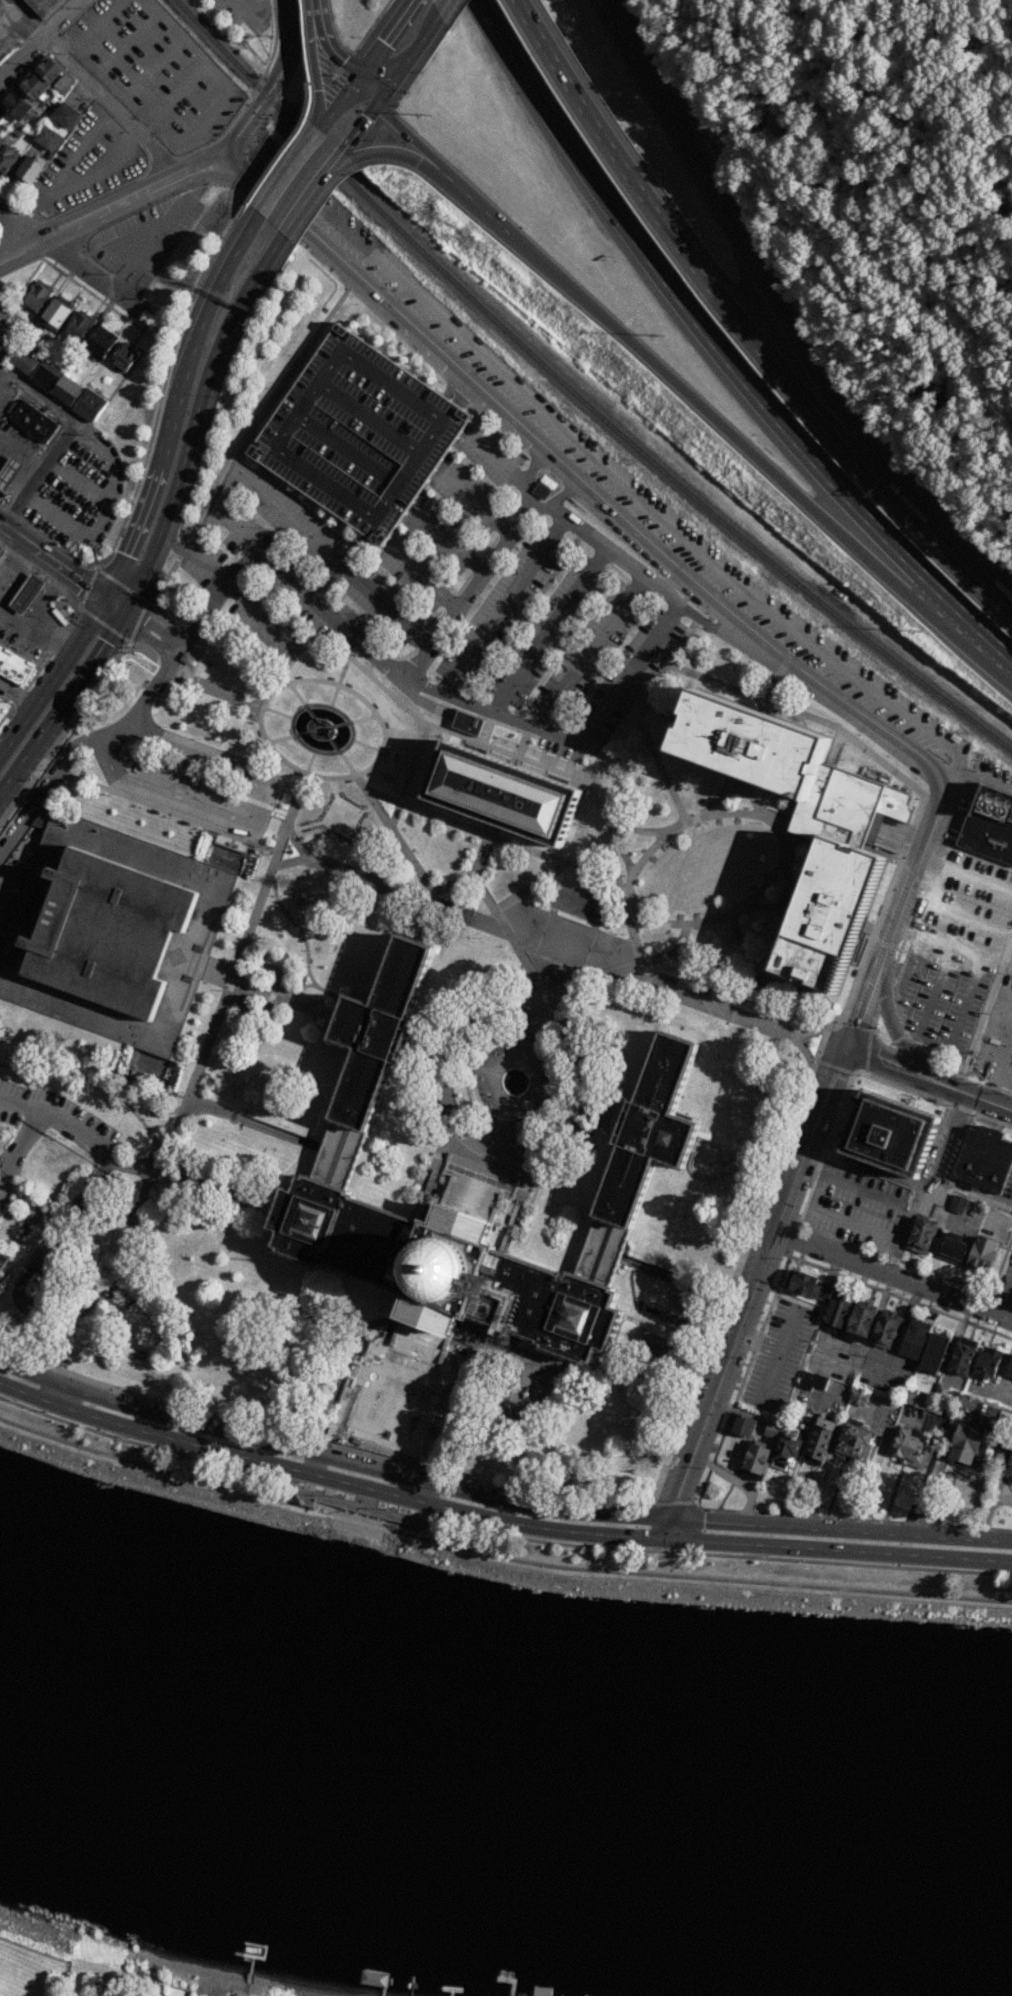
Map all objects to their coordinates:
road: (248, 4)
building: (43, 6)
road: (316, 8)
road: (443, 8)
parking lot: (244, 15)
road: (97, 22)
road: (534, 22)
road: (32, 32)
road: (385, 37)
road: (622, 38)
road: (38, 39)
road: (129, 41)
road: (64, 42)
road: (189, 43)
traffic signals: (380, 45)
road: (333, 49)
road: (408, 58)
traffic signals: (343, 61)
road: (154, 66)
building: (48, 70)
parking lot: (155, 70)
road: (320, 73)
road: (278, 74)
building: (63, 83)
building: (31, 86)
road: (118, 88)
road: (368, 88)
road: (179, 92)
road: (250, 94)
road: (339, 102)
building: (14, 103)
road: (111, 106)
traffic signals: (369, 113)
building: (1, 114)
building: (66, 114)
street lamp: (428, 115)
road: (205, 118)
road: (359, 125)
building: (17, 128)
road: (162, 132)
building: (47, 137)
road: (406, 137)
building: (0, 144)
road: (229, 144)
road: (619, 154)
road: (396, 155)
building: (6, 159)
road: (162, 159)
road: (209, 159)
parking lot: (87, 163)
road: (207, 164)
building: (28, 169)
road: (289, 172)
road: (334, 173)
road: (52, 191)
road: (311, 193)
road: (75, 206)
road: (99, 217)
parking lot: (152, 236)
parking lot: (147, 237)
road: (150, 247)
road: (76, 268)
road: (203, 270)
road: (764, 280)
road: (76, 282)
road: (215, 287)
building: (37, 296)
building: (56, 313)
building: (80, 327)
road: (388, 328)
street lamp: (661, 337)
building: (101, 345)
road: (720, 354)
building: (124, 359)
building: (25, 360)
building: (45, 375)
road: (3, 376)
road: (783, 379)
road: (459, 388)
building: (65, 390)
road: (484, 391)
railway: (575, 393)
road: (280, 395)
building: (89, 405)
road: (73, 419)
road: (194, 422)
building: (33, 423)
road: (721, 427)
building: (359, 434)
parking lot: (359, 434)
road: (22, 453)
road: (231, 455)
parking lot: (490, 455)
road: (493, 456)
road: (159, 461)
road: (602, 462)
parking lot: (615, 471)
building: (8, 472)
gas station: (8, 472)
road: (85, 486)
road: (260, 488)
building: (541, 490)
parking lot: (78, 491)
parking lot: (470, 496)
road: (473, 499)
road: (109, 505)
road: (14, 510)
road: (523, 511)
road: (124, 517)
road: (235, 527)
parking lot: (442, 534)
road: (447, 537)
road: (4, 538)
road: (175, 547)
road: (946, 550)
road: (38, 554)
traffic signals: (125, 554)
parking lot: (330, 556)
road: (613, 556)
road: (13, 563)
road: (338, 568)
road: (100, 570)
parking lot: (415, 572)
road: (41, 574)
road: (420, 575)
road: (113, 578)
road: (475, 580)
traffic signals: (77, 583)
parking lot: (298, 585)
building: (26, 593)
gas station: (26, 593)
road: (89, 593)
street lamp: (478, 598)
parking lot: (249, 605)
road: (501, 605)
parking lot: (501, 607)
road: (112, 610)
road: (443, 613)
road: (37, 627)
road: (113, 630)
traffic signals: (141, 630)
road: (194, 630)
road: (548, 631)
parking lot: (548, 632)
street lamp: (631, 633)
road: (149, 635)
traffic signals: (104, 643)
road: (589, 653)
parking lot: (590, 653)
road: (789, 656)
road: (197, 657)
building: (186, 658)
road: (44, 660)
building: (14, 666)
road: (285, 666)
street lamp: (434, 679)
road: (53, 682)
street lamp: (537, 685)
parking lot: (618, 686)
road: (771, 688)
street lamp: (462, 689)
road: (20, 692)
road: (228, 694)
flagpole: (258, 696)
road: (638, 702)
flagpole: (254, 703)
road: (425, 703)
road: (846, 703)
road: (9, 706)
flagpole: (252, 709)
street lamp: (520, 711)
road: (663, 711)
park: (309, 714)
road: (73, 716)
road: (52, 717)
road: (598, 719)
building: (323, 721)
road: (347, 722)
building: (467, 722)
building: (309, 725)
street lamp: (555, 725)
road: (171, 727)
parking lot: (177, 729)
road: (321, 729)
building: (331, 732)
street lamp: (863, 734)
building: (317, 736)
building: (955, 737)
building: (752, 743)
road: (366, 745)
road: (835, 747)
road: (227, 759)
road: (512, 760)
road: (659, 765)
street lamp: (43, 768)
road: (378, 770)
road: (354, 774)
street lamp: (600, 776)
road: (977, 776)
road: (392, 777)
road: (408, 778)
street lamp: (921, 783)
road: (173, 785)
road: (396, 786)
parking lot: (182, 792)
road: (721, 792)
building: (504, 793)
street lamp: (107, 794)
street lamp: (409, 795)
road: (753, 795)
street lamp: (918, 797)
street lamp: (138, 805)
building: (846, 807)
road: (167, 812)
street lamp: (419, 815)
street lamp: (169, 816)
street lamp: (706, 822)
street lamp: (760, 822)
building: (877, 822)
road: (275, 824)
road: (603, 824)
building: (988, 825)
street lamp: (3, 826)
road: (466, 826)
street lamp: (199, 827)
road: (787, 830)
street lamp: (480, 837)
street lamp: (671, 839)
street lamp: (309, 843)
street lamp: (495, 843)
road: (482, 849)
road: (902, 850)
street lamp: (268, 854)
road: (570, 855)
road: (306, 858)
street lamp: (774, 860)
building: (190, 869)
road: (911, 871)
road: (915, 873)
road: (966, 875)
road: (542, 878)
road: (788, 878)
road: (367, 881)
road: (585, 887)
road: (0, 894)
street lamp: (278, 895)
street lamp: (743, 895)
street lamp: (529, 898)
parking lot: (8, 904)
road: (769, 905)
street lamp: (250, 906)
road: (950, 914)
building: (831, 916)
road: (289, 917)
street lamp: (296, 921)
road: (487, 925)
building: (108, 932)
road: (194, 933)
street lamp: (621, 933)
road: (682, 937)
road: (885, 943)
road: (948, 946)
street lamp: (345, 947)
street lamp: (310, 950)
road: (1007, 950)
parking lot: (965, 952)
road: (236, 957)
street lamp: (230, 960)
road: (903, 962)
road: (305, 969)
road: (319, 987)
road: (1003, 987)
street lamp: (219, 989)
road: (270, 990)
road: (272, 990)
road: (864, 990)
road: (934, 991)
road: (554, 994)
street lamp: (319, 998)
road: (966, 1003)
road: (998, 1017)
road: (898, 1018)
traffic signals: (854, 1020)
road: (979, 1027)
building: (130, 1033)
road: (849, 1033)
road: (870, 1035)
road: (899, 1038)
road: (798, 1039)
road: (899, 1039)
street lamp: (200, 1041)
road: (879, 1042)
road: (999, 1049)
building: (371, 1053)
road: (859, 1053)
road: (522, 1058)
traffic signals: (876, 1059)
road: (838, 1061)
road: (834, 1066)
road: (916, 1074)
traffic signals: (833, 1076)
park: (87, 1078)
fountain: (514, 1081)
street lamp: (66, 1086)
street lamp: (730, 1089)
street lamp: (181, 1091)
road: (984, 1100)
street lamp: (108, 1110)
street lamp: (359, 1112)
street lamp: (149, 1120)
road: (253, 1122)
road: (81, 1134)
building: (889, 1136)
parking lot: (91, 1141)
road: (22, 1143)
building: (642, 1151)
road: (805, 1153)
building: (984, 1160)
road: (742, 1166)
road: (152, 1176)
road: (709, 1178)
road: (923, 1181)
road: (217, 1185)
road: (817, 1191)
road: (809, 1192)
street lamp: (615, 1204)
building: (957, 1204)
building: (1, 1206)
parking lot: (856, 1207)
flagpole: (314, 1220)
building: (922, 1236)
road: (793, 1239)
building: (954, 1248)
street lamp: (238, 1249)
road: (833, 1250)
building: (983, 1254)
road: (37, 1258)
building: (3, 1262)
parking lot: (747, 1267)
building: (446, 1268)
road: (684, 1281)
building: (810, 1287)
road: (950, 1295)
road: (1005, 1295)
road: (877, 1310)
building: (836, 1313)
flagpole: (578, 1317)
building: (860, 1322)
building: (886, 1330)
road: (900, 1334)
building: (914, 1339)
road: (760, 1341)
road: (658, 1350)
building: (933, 1354)
road: (778, 1356)
parking lot: (779, 1356)
parking lot: (836, 1357)
building: (961, 1359)
building: (988, 1364)
road: (344, 1366)
parking lot: (886, 1370)
road: (840, 1372)
building: (1010, 1372)
road: (723, 1375)
fountain: (372, 1376)
building: (807, 1380)
building: (819, 1382)
street lamp: (124, 1387)
street lamp: (619, 1388)
park: (401, 1392)
road: (58, 1395)
building: (860, 1396)
fountain: (434, 1398)
street lamp: (15, 1399)
building: (924, 1401)
road: (464, 1402)
building: (967, 1404)
road: (343, 1411)
road: (728, 1416)
road: (920, 1425)
building: (740, 1426)
building: (771, 1429)
street lamp: (127, 1437)
road: (838, 1437)
road: (947, 1441)
building: (818, 1442)
building: (854, 1443)
building: (967, 1445)
building: (788, 1447)
building: (911, 1447)
road: (313, 1457)
road: (332, 1458)
road: (798, 1459)
building: (756, 1463)
road: (286, 1469)
building: (1010, 1470)
road: (953, 1473)
road: (880, 1475)
road: (924, 1477)
building: (1011, 1482)
road: (738, 1483)
road: (895, 1484)
road: (430, 1486)
road: (729, 1486)
road: (836, 1489)
road: (814, 1492)
flagpole: (338, 1496)
road: (573, 1496)
traffic signals: (678, 1498)
road: (305, 1499)
road: (673, 1502)
flagpole: (391, 1508)
road: (988, 1510)
road: (338, 1513)
road: (380, 1524)
traffic signals: (704, 1524)
road: (648, 1527)
road: (417, 1528)
road: (671, 1530)
road: (842, 1531)
road: (494, 1533)
road: (624, 1534)
traffic signals: (647, 1537)
road: (715, 1541)
road: (836, 1550)
street lamp: (766, 1555)
road: (497, 1557)
road: (962, 1559)
street lamp: (891, 1563)
river: (498, 1805)
road: (50, 1955)
park: (28, 1972)

